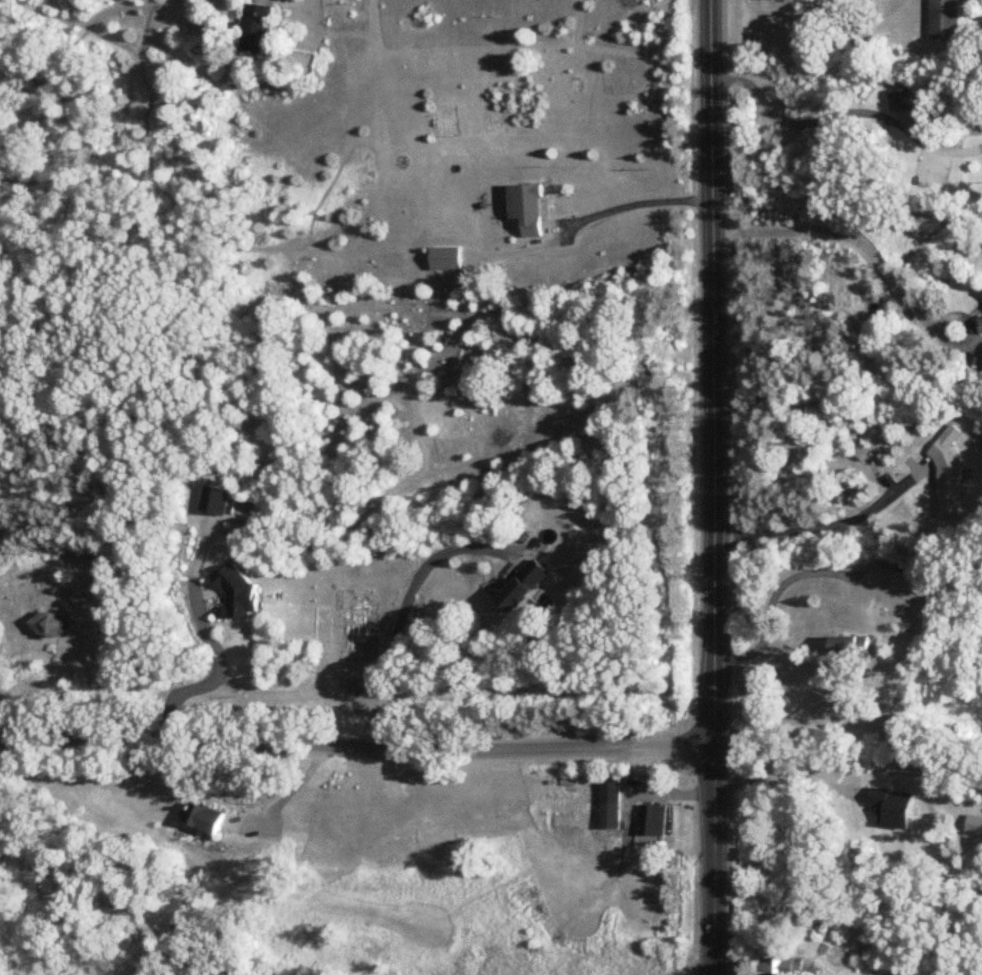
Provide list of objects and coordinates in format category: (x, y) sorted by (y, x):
building: (944, 19)
building: (257, 29)
road: (841, 112)
building: (526, 209)
road: (641, 212)
road: (847, 235)
building: (446, 259)
road: (711, 373)
building: (949, 472)
road: (819, 528)
building: (909, 581)
road: (771, 588)
road: (402, 619)
building: (51, 625)
building: (851, 647)
road: (356, 743)
road: (789, 782)
road: (285, 792)
building: (609, 806)
building: (208, 821)
building: (652, 821)
road: (712, 861)
building: (645, 894)
building: (782, 967)

